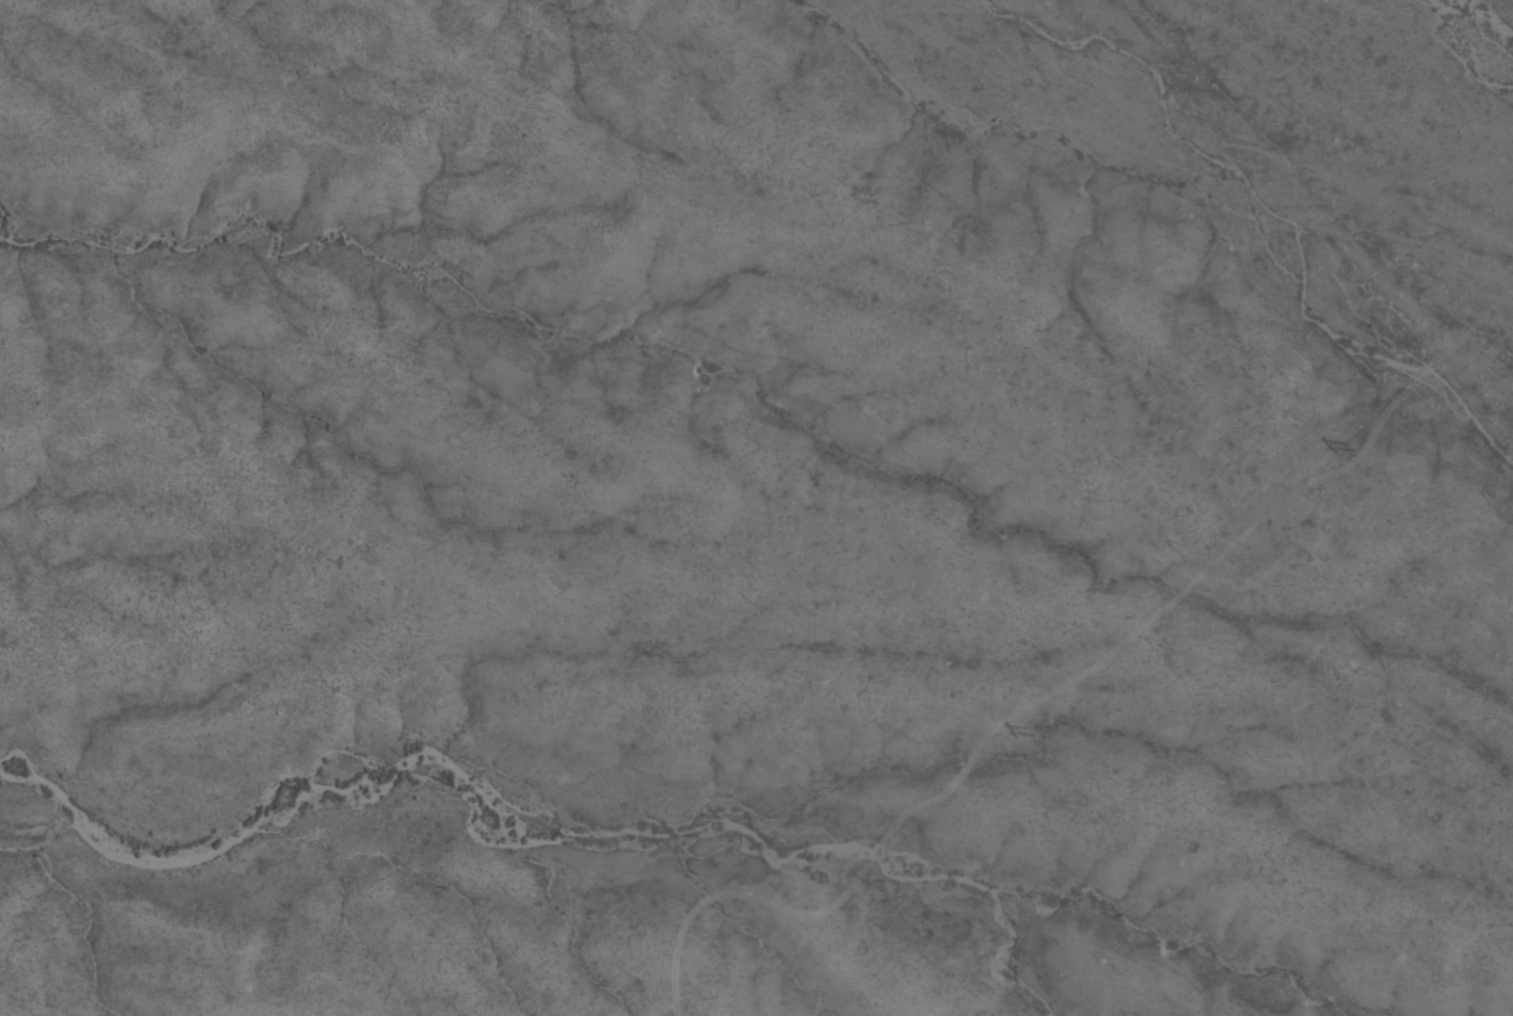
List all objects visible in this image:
power tower: (1349, 446)
power tower: (1037, 732)

